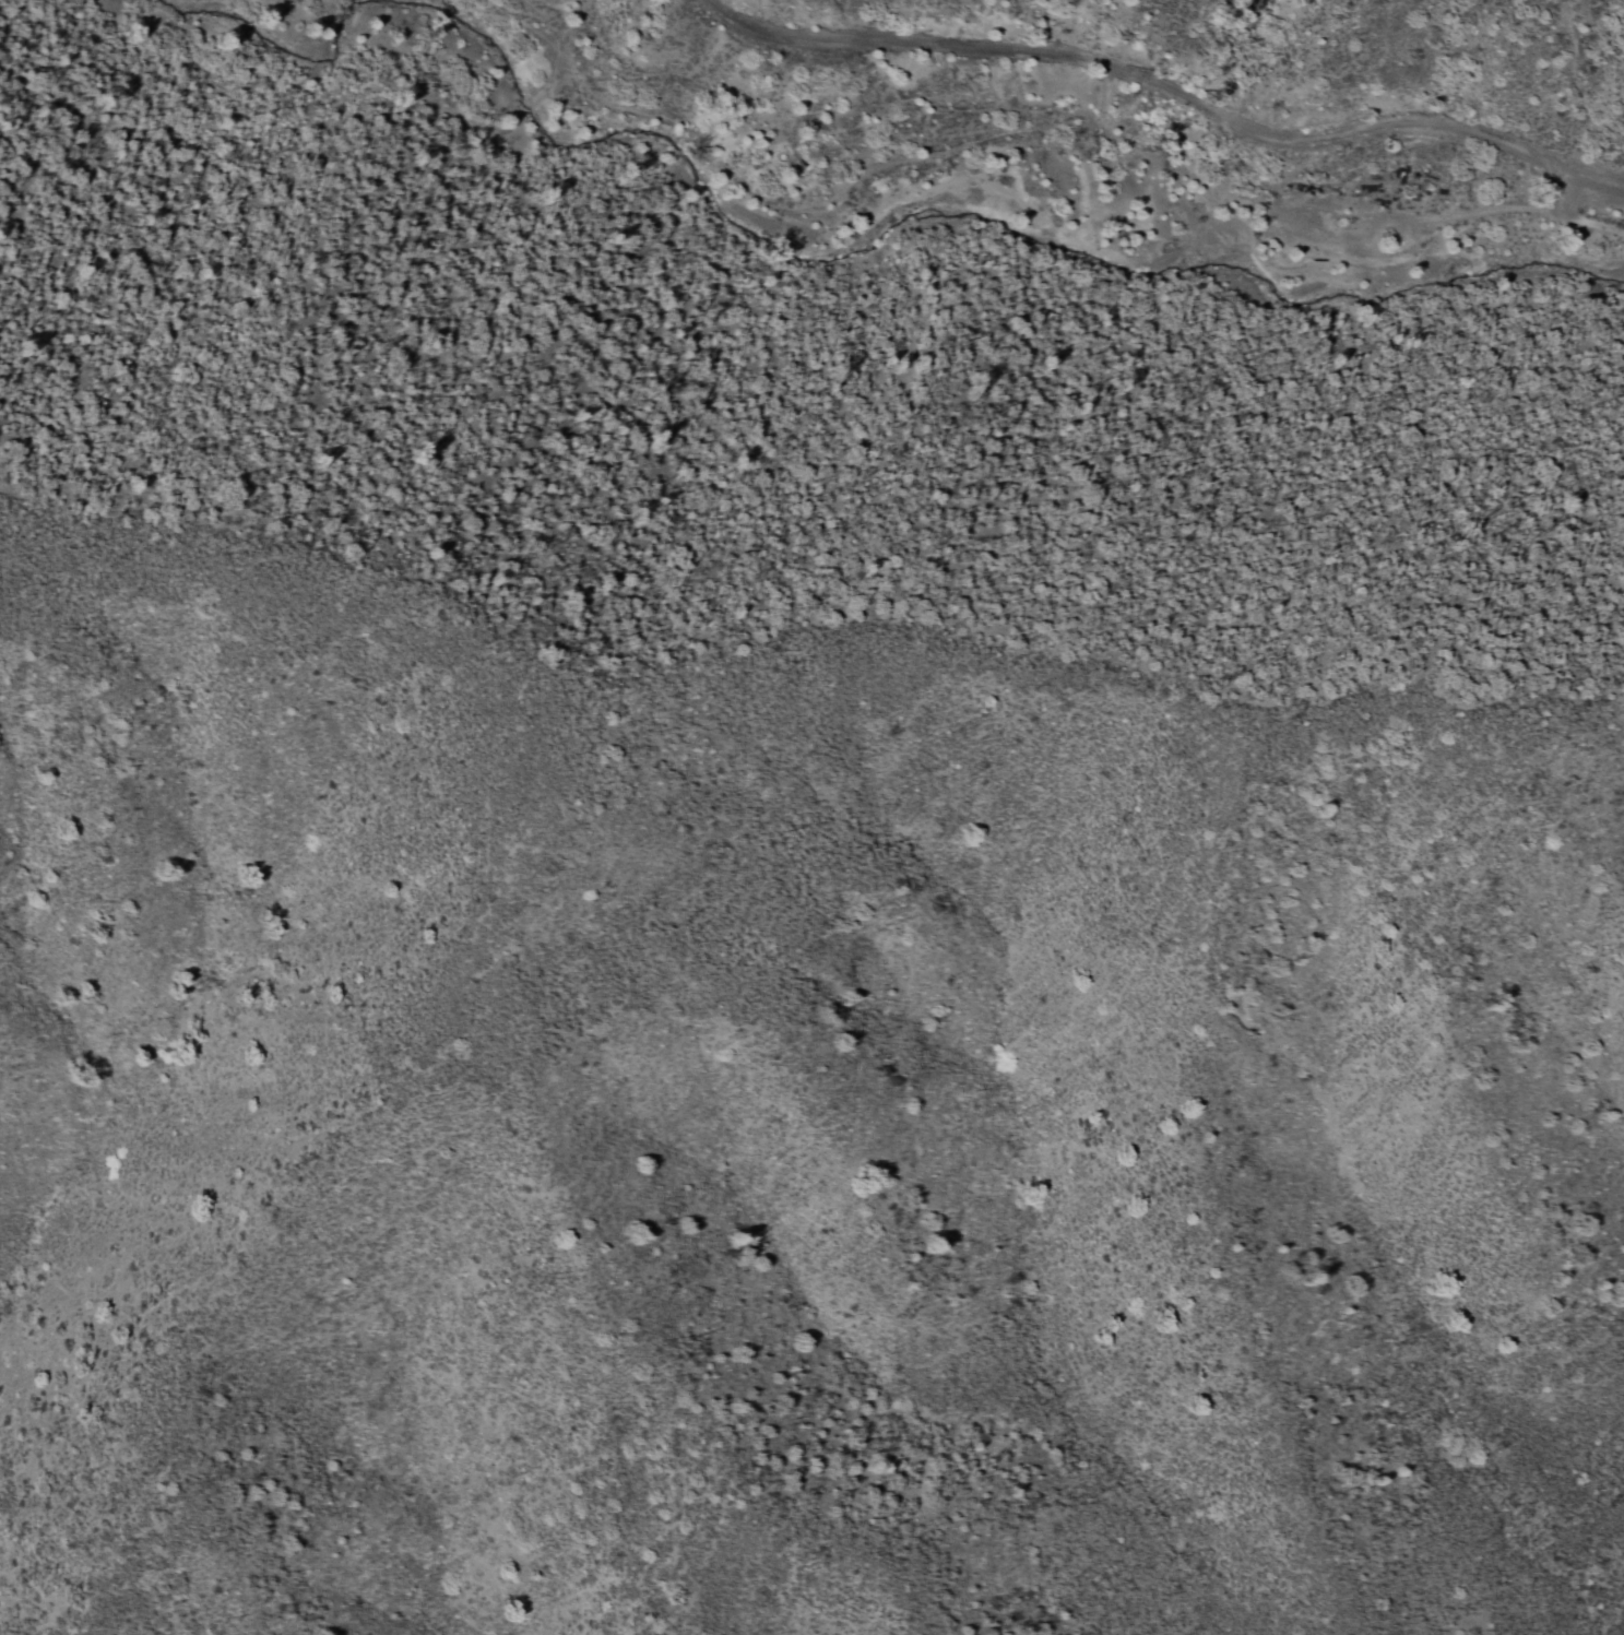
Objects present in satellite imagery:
road: (1164, 121)

